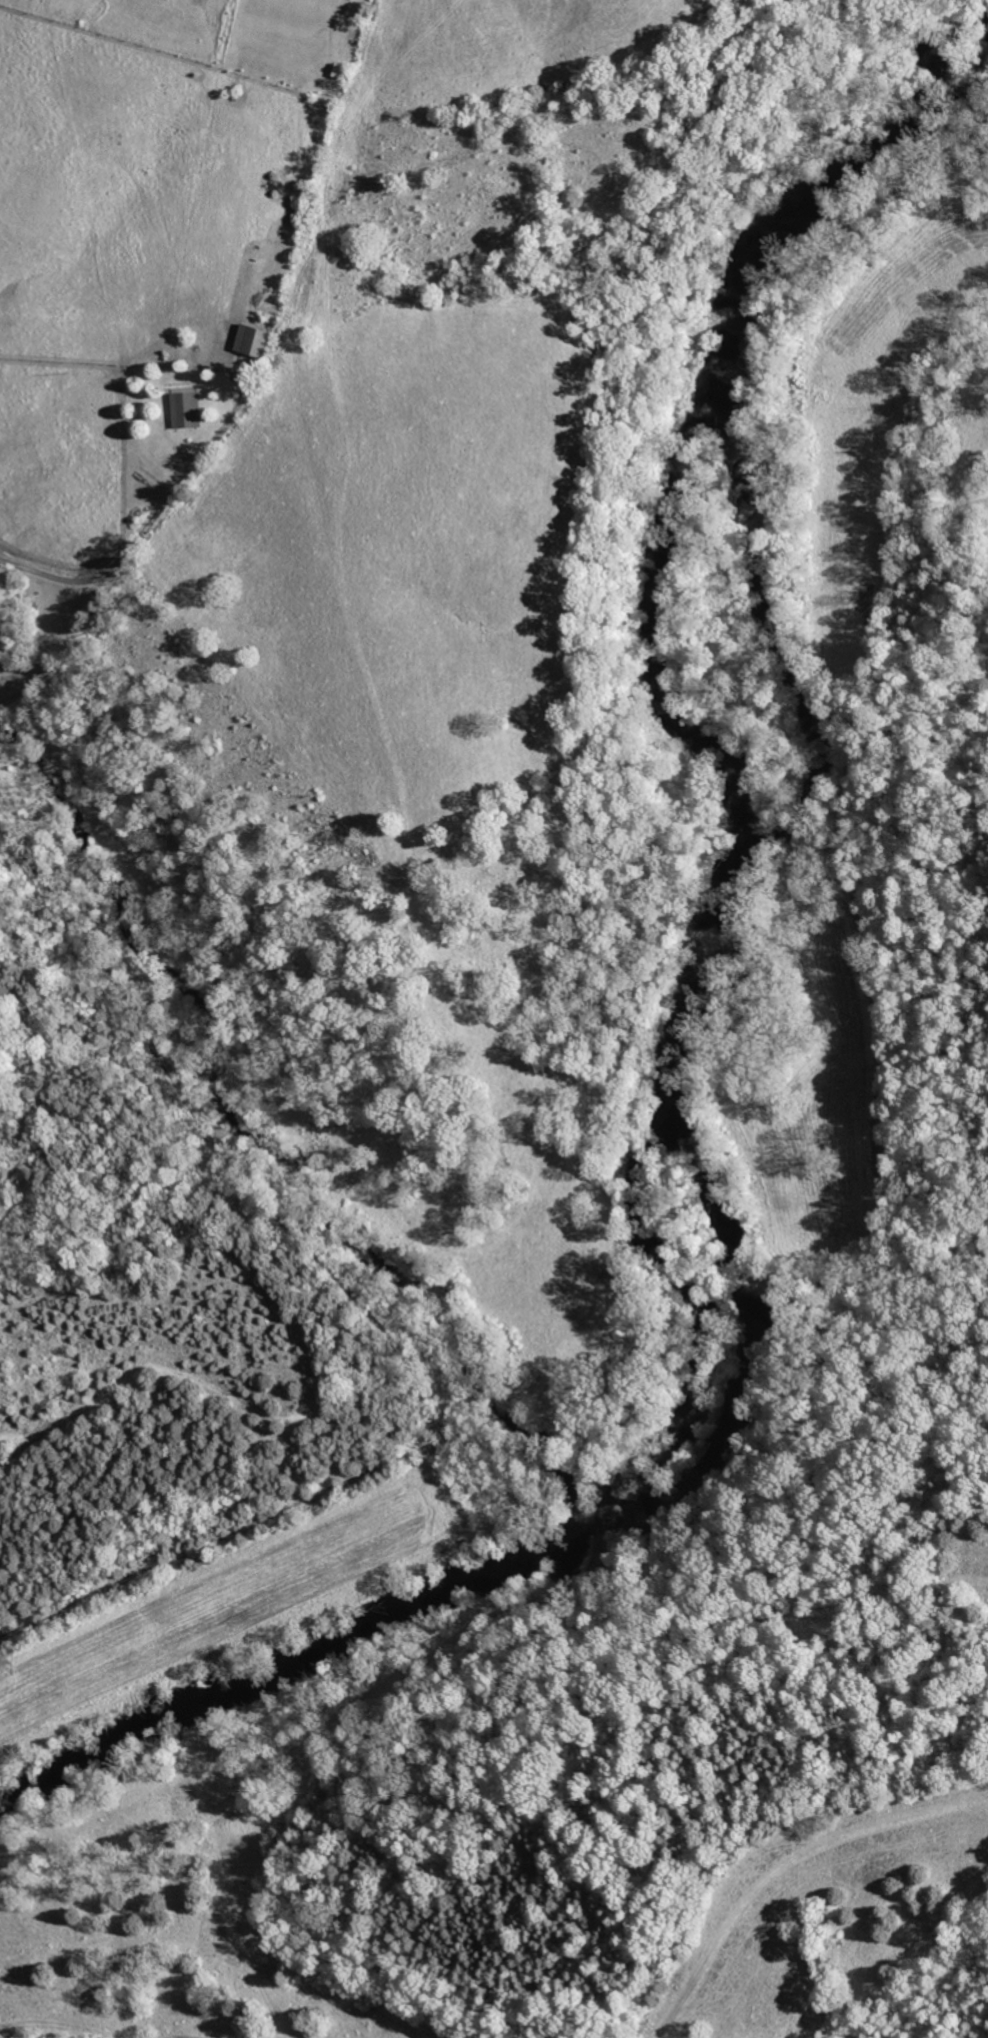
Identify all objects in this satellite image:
building: (249, 340)
road: (819, 1864)

